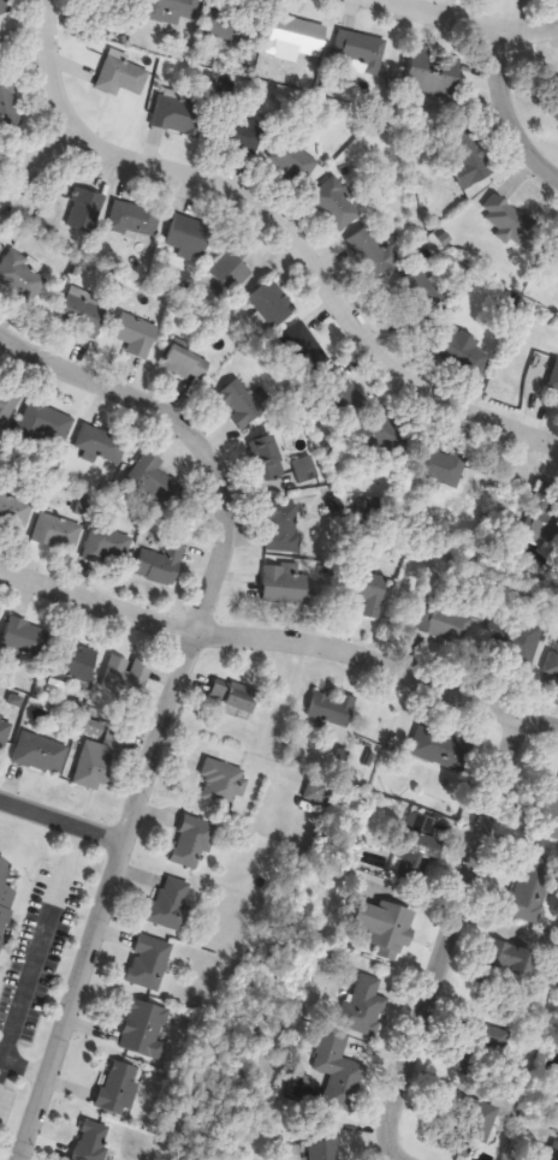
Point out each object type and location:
building: (108, 2)
building: (7, 7)
building: (171, 11)
building: (228, 22)
road: (469, 22)
building: (296, 36)
building: (358, 49)
building: (433, 75)
building: (121, 77)
building: (8, 105)
building: (552, 107)
road: (505, 112)
building: (179, 115)
building: (241, 133)
building: (292, 161)
building: (470, 161)
road: (34, 169)
building: (336, 206)
building: (85, 210)
building: (135, 220)
building: (511, 225)
road: (277, 228)
building: (190, 236)
building: (372, 254)
building: (557, 256)
building: (232, 268)
building: (20, 278)
building: (273, 304)
building: (83, 313)
building: (137, 335)
building: (304, 349)
building: (461, 351)
building: (184, 364)
building: (342, 393)
building: (241, 403)
building: (7, 406)
building: (47, 423)
building: (393, 435)
building: (100, 444)
building: (268, 458)
building: (439, 466)
building: (307, 470)
building: (154, 481)
building: (545, 510)
building: (14, 513)
building: (284, 528)
building: (58, 533)
building: (106, 546)
building: (161, 566)
building: (286, 585)
building: (364, 595)
building: (447, 625)
building: (25, 640)
building: (523, 642)
road: (280, 643)
building: (76, 662)
building: (552, 666)
building: (127, 677)
road: (173, 692)
building: (233, 697)
building: (331, 708)
building: (5, 732)
building: (441, 748)
building: (41, 754)
building: (101, 762)
building: (224, 785)
building: (317, 793)
building: (551, 815)
road: (59, 827)
building: (192, 843)
building: (419, 849)
building: (530, 892)
building: (5, 896)
building: (171, 905)
building: (385, 927)
road: (447, 939)
road: (40, 947)
building: (510, 959)
building: (149, 963)
building: (364, 1006)
building: (144, 1030)
building: (463, 1055)
road: (2, 1065)
road: (26, 1065)
building: (338, 1071)
building: (119, 1088)
building: (489, 1114)
building: (91, 1142)
building: (319, 1150)
building: (541, 1152)

